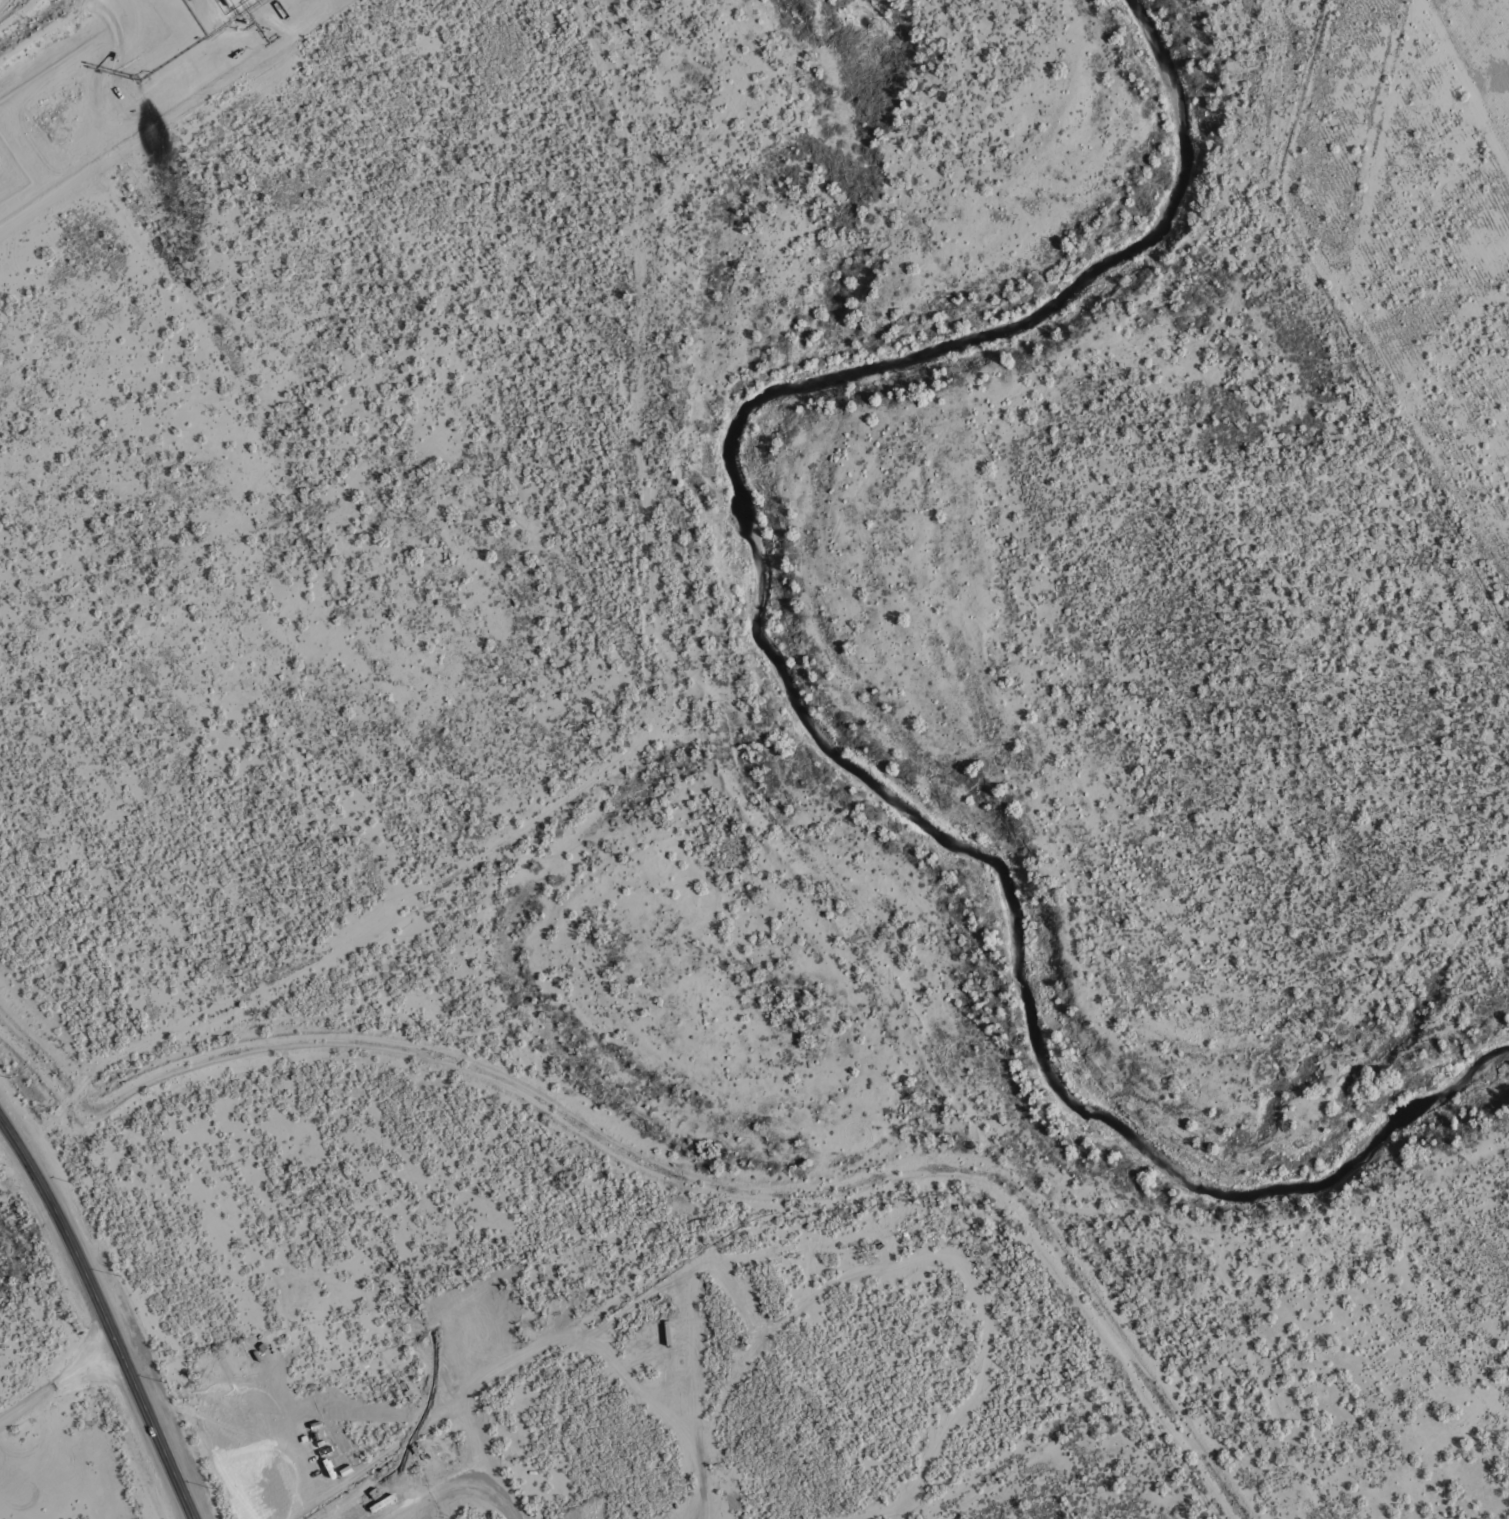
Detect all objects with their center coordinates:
road: (1373, 280)
river: (879, 681)
road: (17, 1178)
road: (102, 1315)

